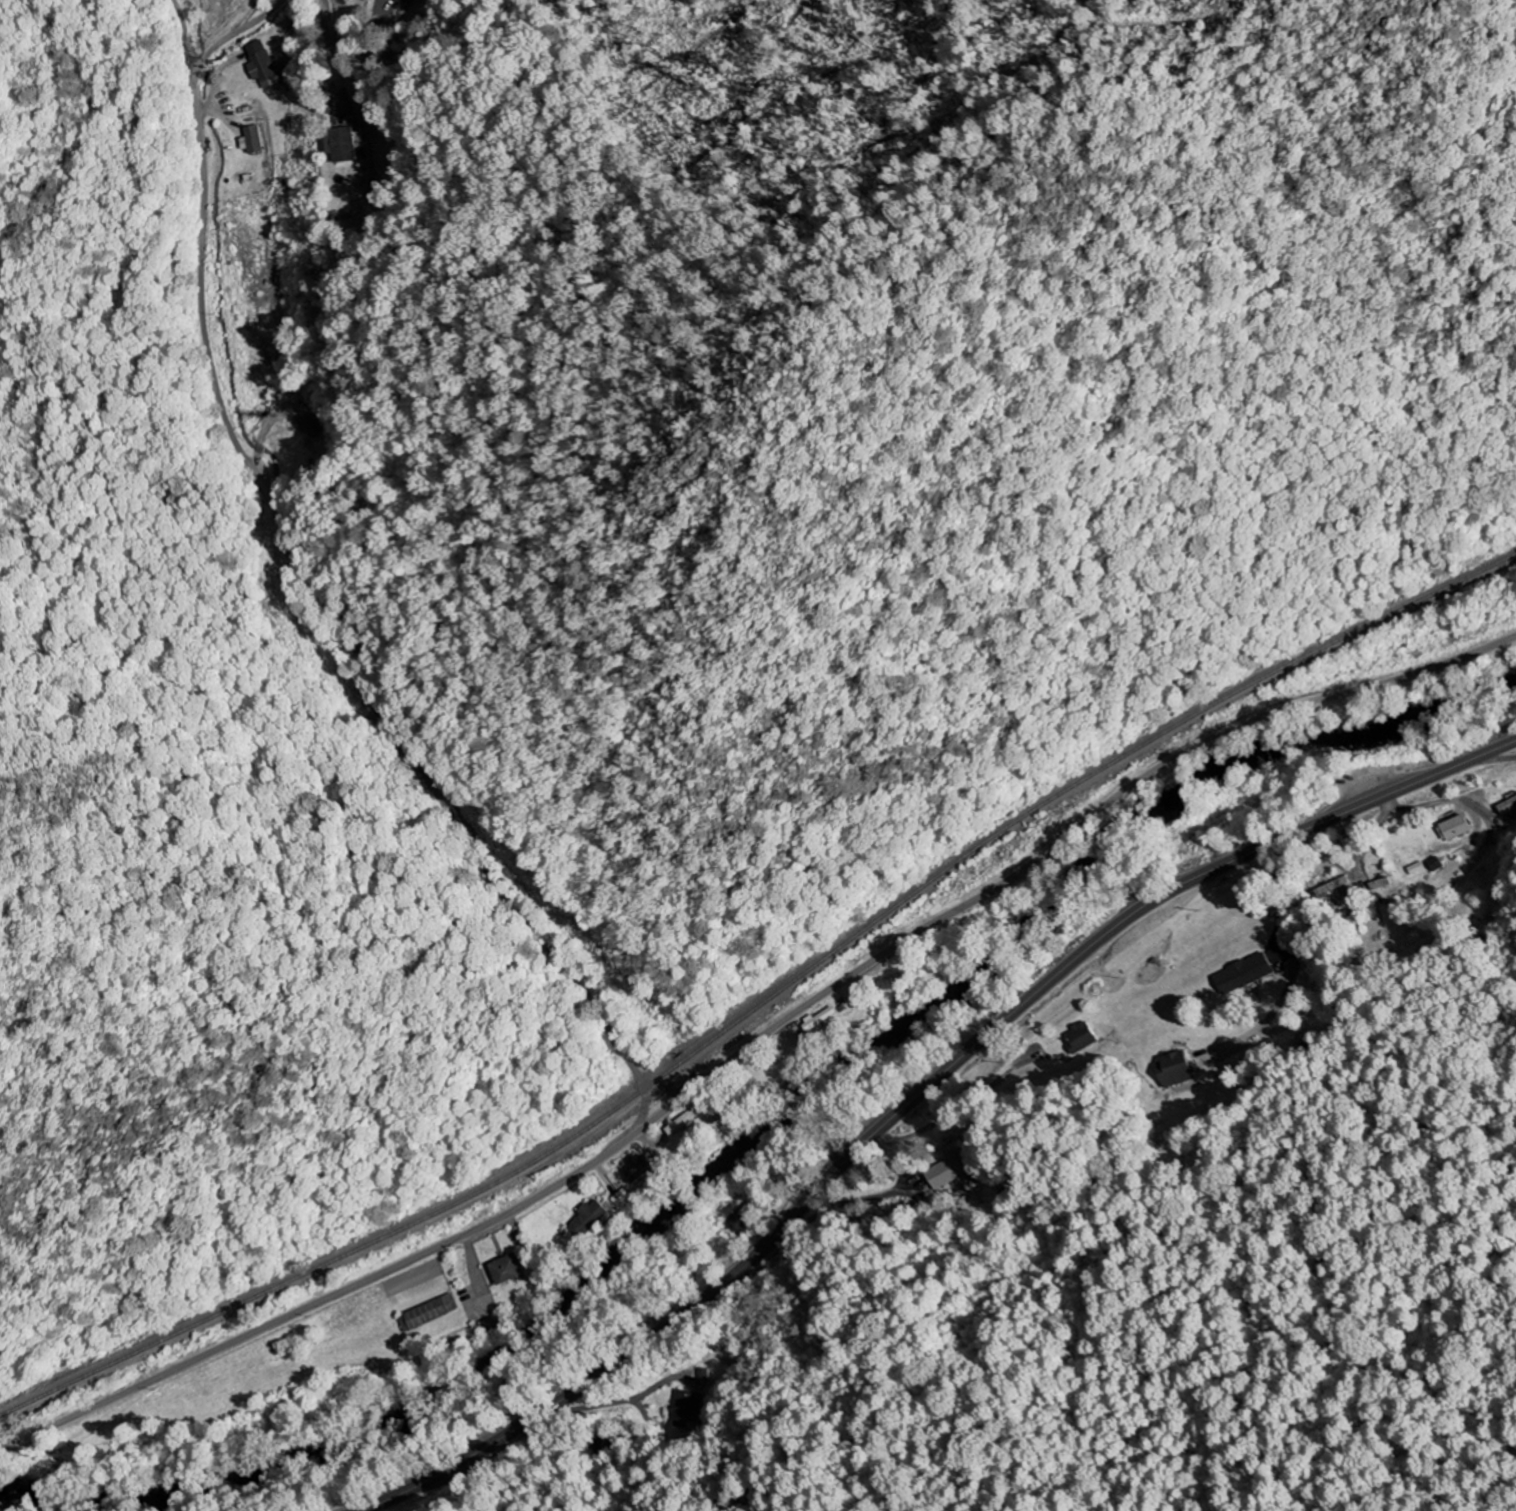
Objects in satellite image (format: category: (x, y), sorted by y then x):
building: (405, 0)
building: (264, 66)
building: (249, 142)
building: (346, 145)
road: (206, 311)
building: (312, 426)
road: (1496, 759)
building: (1507, 805)
building: (1458, 828)
road: (1372, 831)
road: (464, 841)
building: (1333, 888)
building: (1246, 974)
railway: (766, 998)
building: (819, 1022)
road: (758, 1037)
building: (1085, 1038)
building: (1180, 1069)
road: (641, 1079)
road: (918, 1096)
road: (643, 1111)
building: (681, 1123)
building: (639, 1169)
building: (954, 1169)
building: (740, 1219)
building: (590, 1220)
building: (508, 1270)
building: (428, 1314)
building: (493, 1326)
building: (689, 1410)

